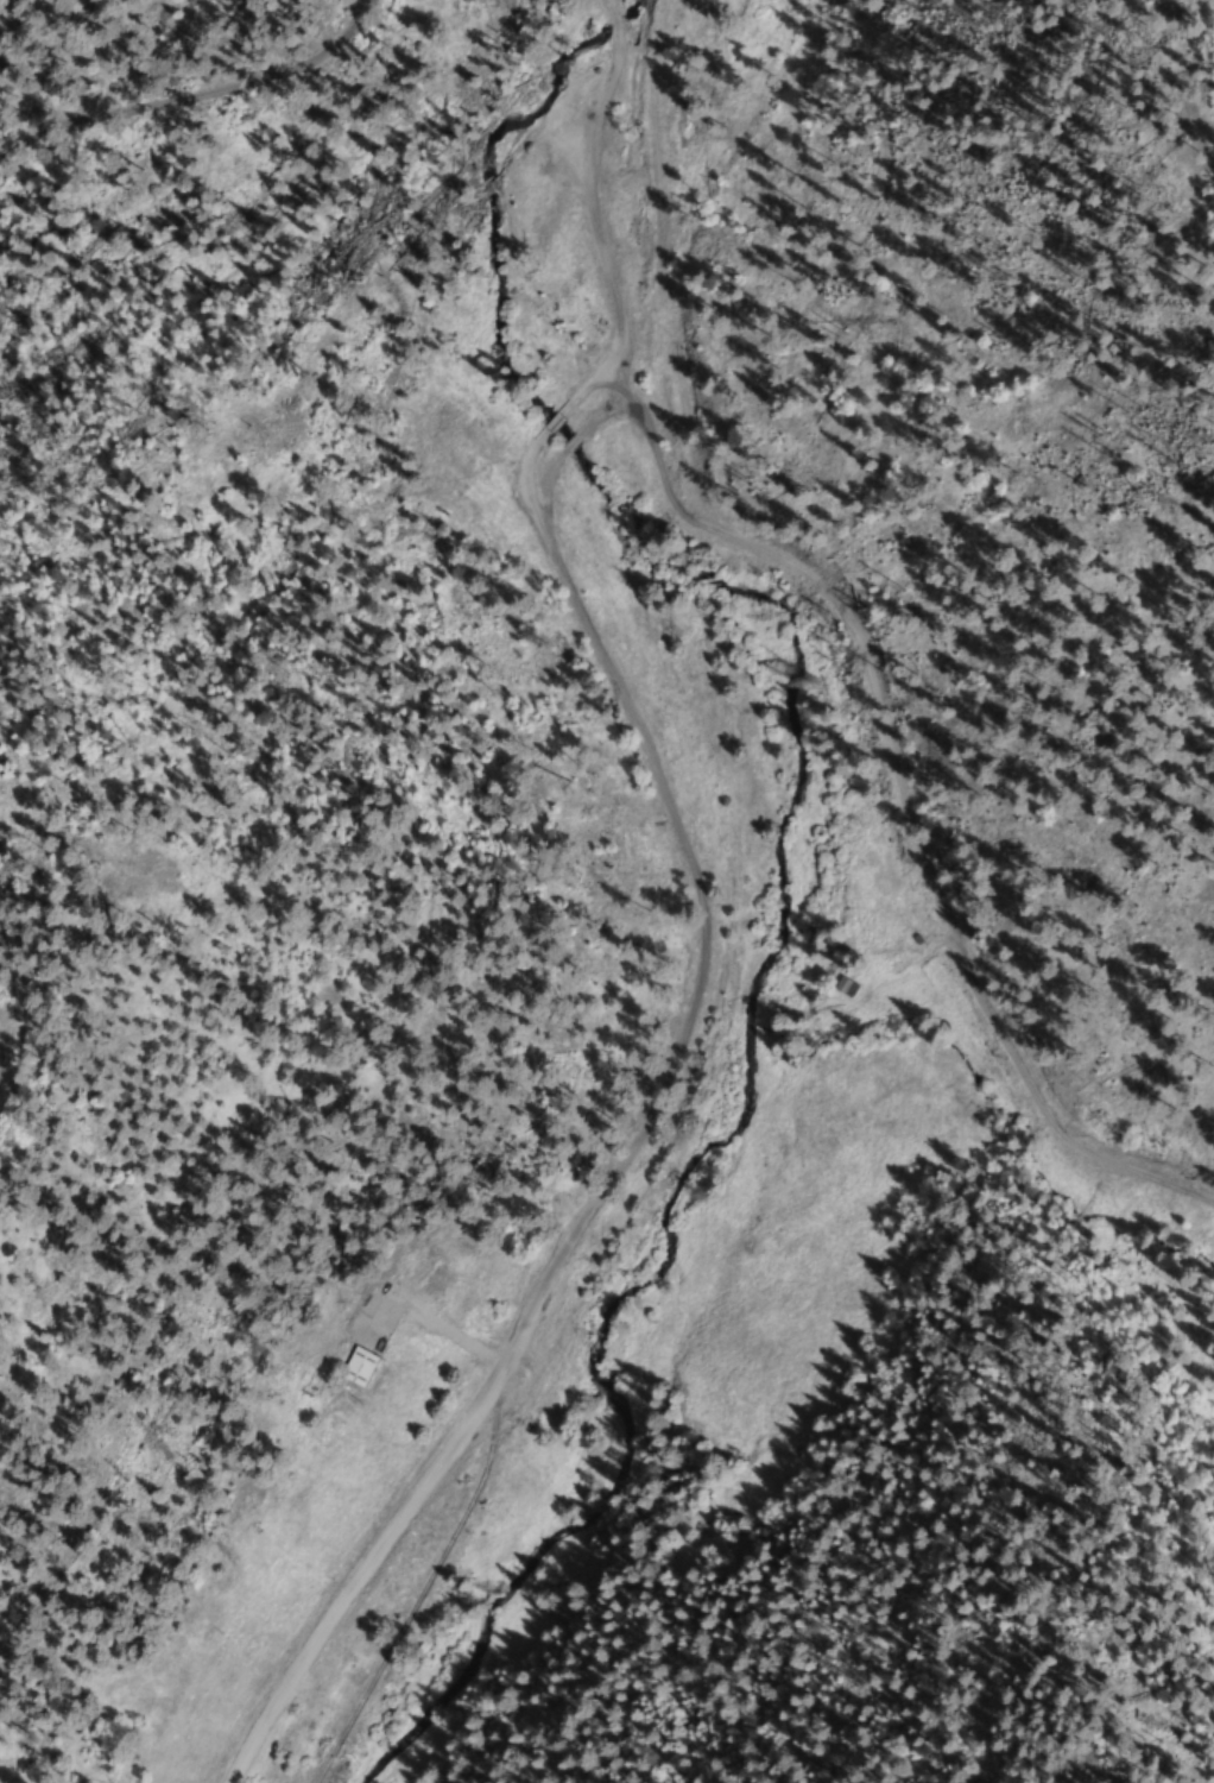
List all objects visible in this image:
road: (608, 7)
road: (613, 21)
road: (195, 90)
road: (603, 247)
road: (570, 453)
road: (556, 480)
road: (913, 789)
building: (843, 987)
road: (12, 995)
road: (627, 1168)
building: (355, 1367)

